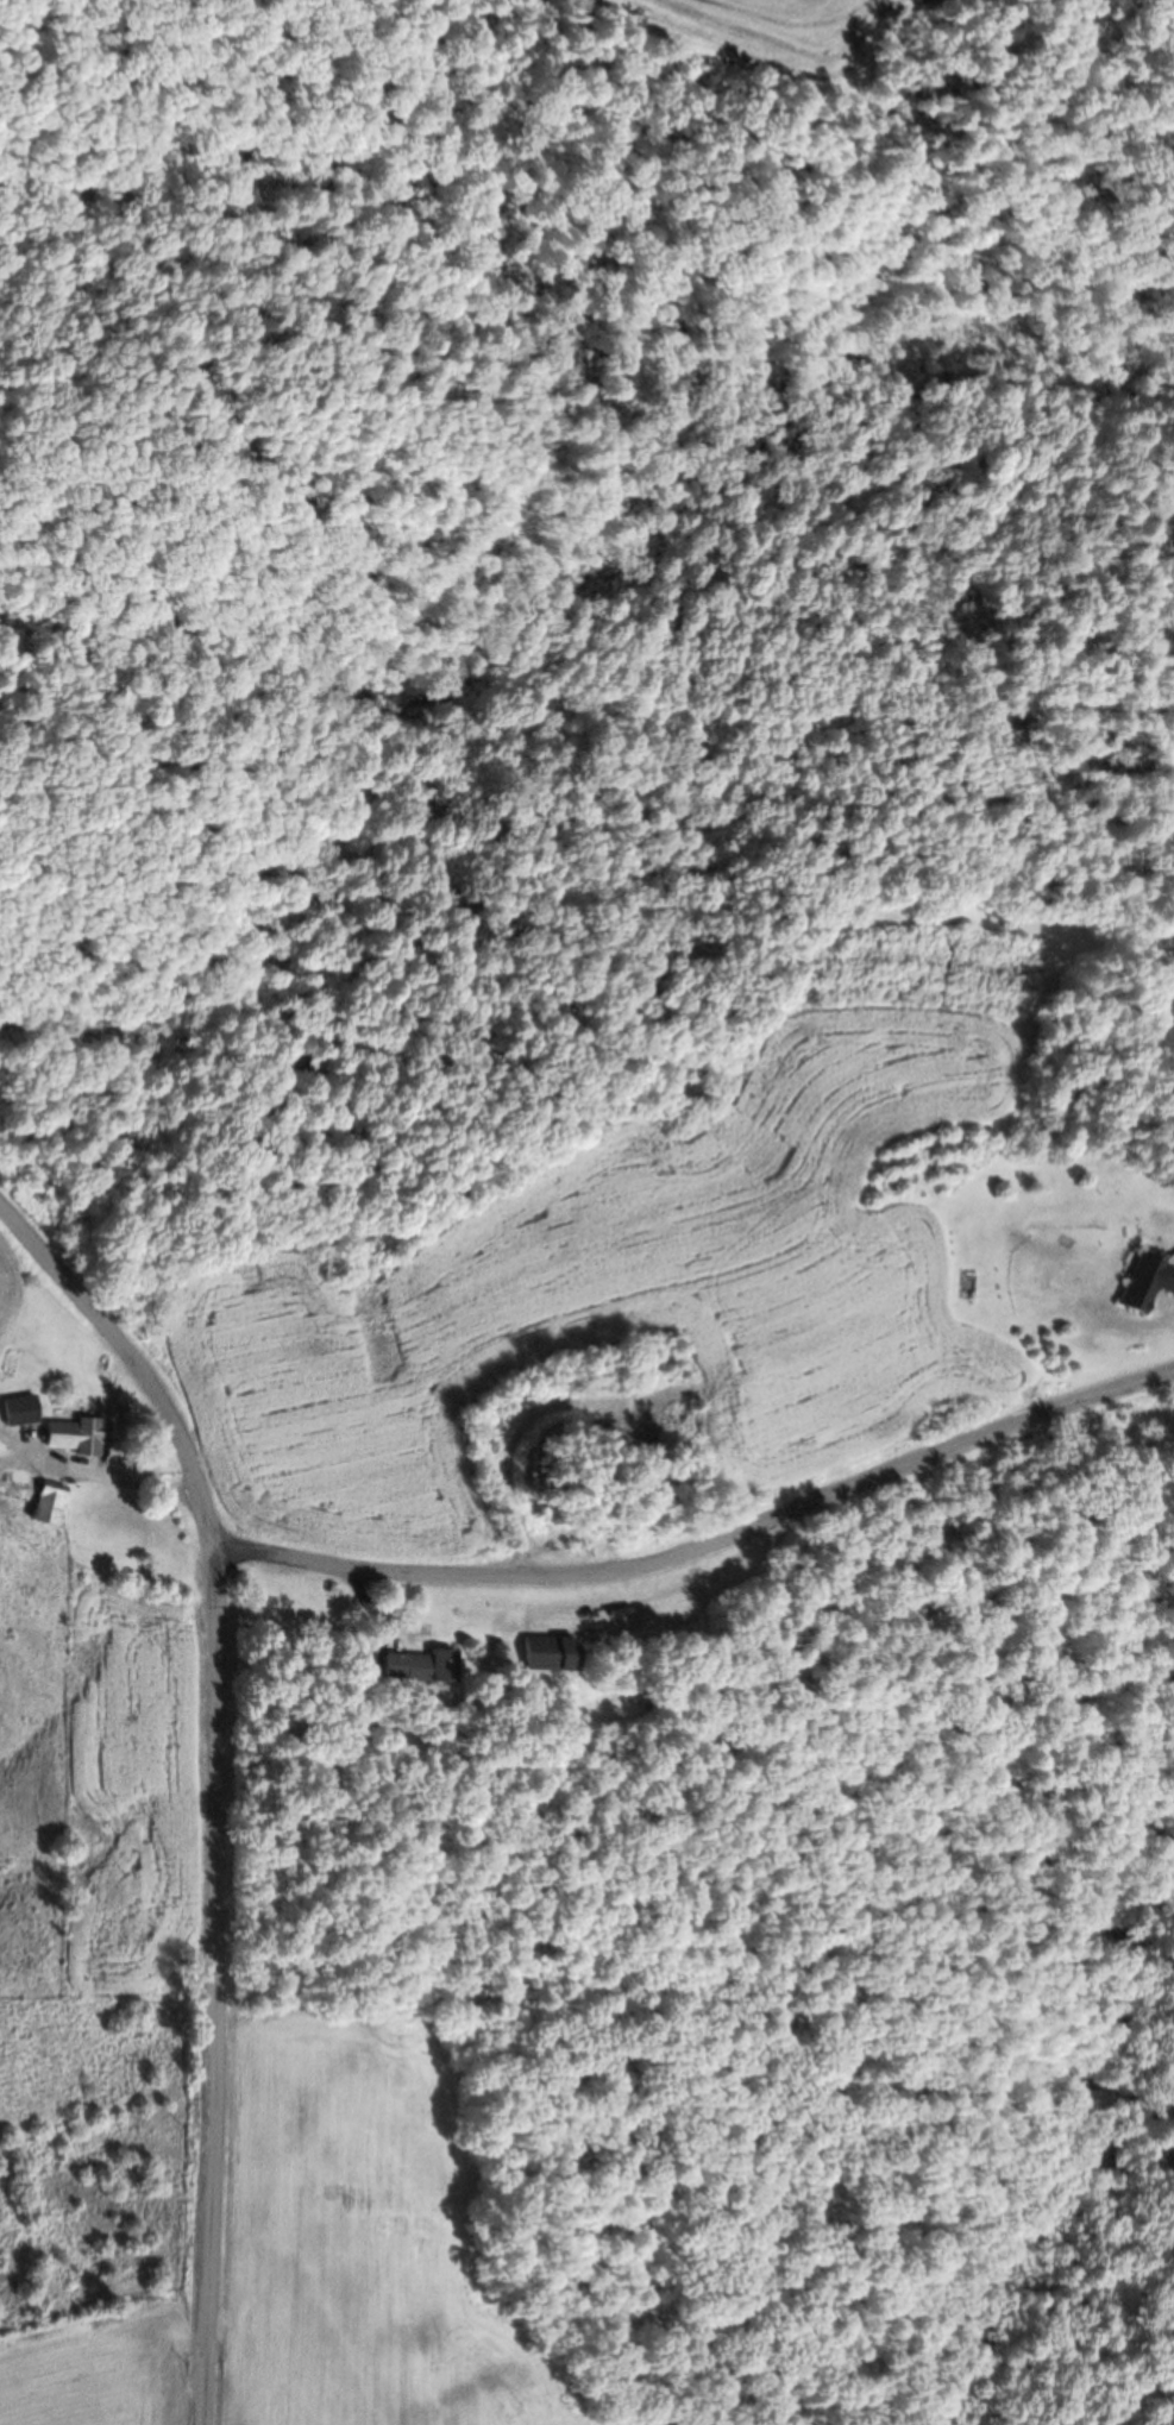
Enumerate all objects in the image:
building: (1145, 1284)
building: (26, 1411)
building: (79, 1437)
building: (57, 1506)
road: (705, 1547)
building: (547, 1654)
building: (419, 1667)
road: (214, 1783)

